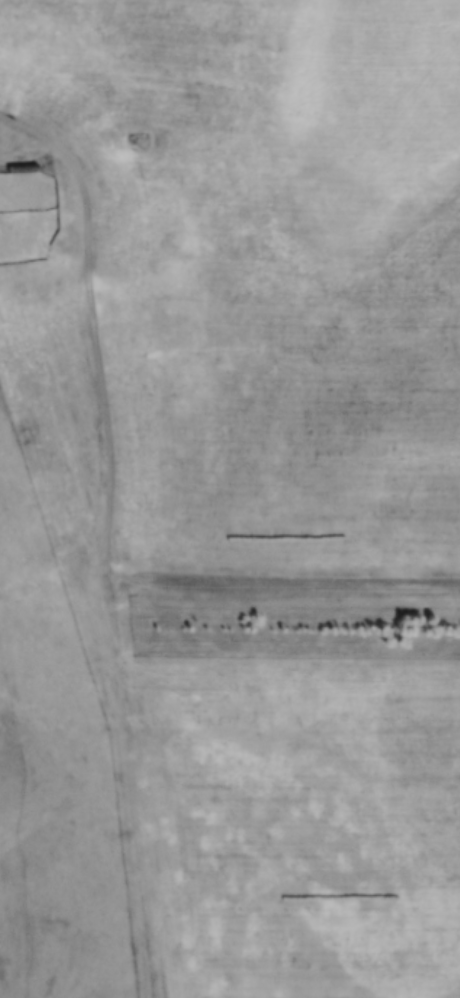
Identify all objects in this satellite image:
road: (112, 499)

